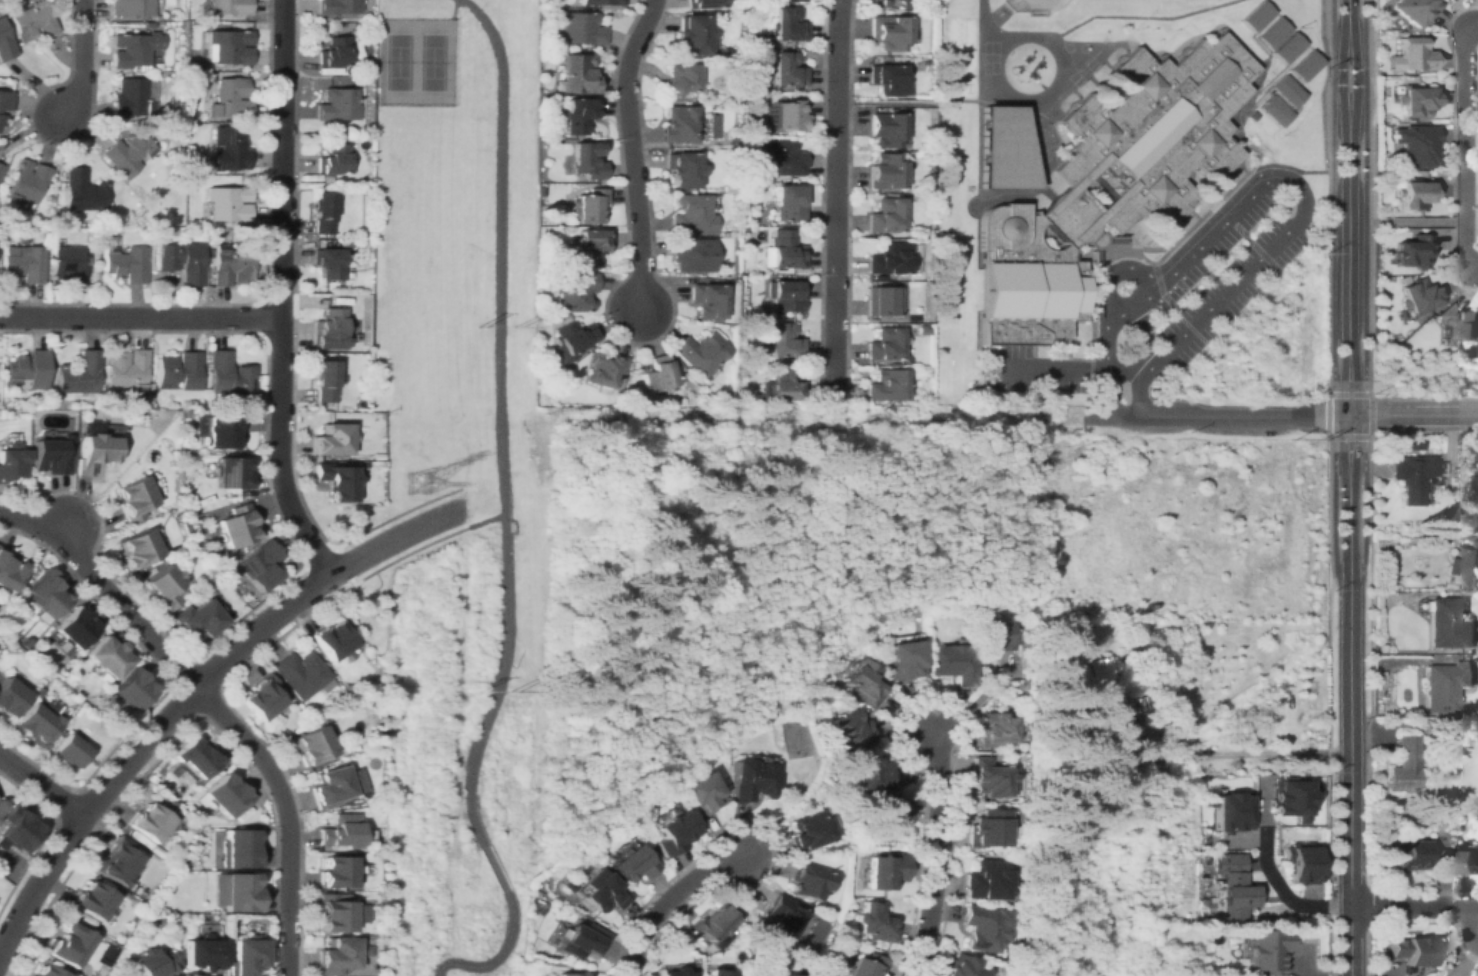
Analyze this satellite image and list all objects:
building: (899, 1)
building: (602, 2)
building: (886, 2)
building: (704, 3)
park: (1074, 4)
building: (340, 6)
building: (134, 7)
building: (230, 7)
road: (452, 9)
building: (878, 10)
building: (1416, 10)
building: (1034, 13)
road: (979, 14)
building: (1255, 15)
road: (1107, 16)
road: (1347, 17)
building: (33, 21)
building: (150, 24)
building: (201, 24)
building: (788, 25)
building: (582, 28)
building: (890, 31)
building: (1271, 31)
building: (761, 33)
building: (694, 34)
building: (5, 44)
park: (1066, 46)
building: (1286, 46)
building: (230, 47)
road: (1066, 49)
building: (136, 50)
building: (335, 52)
building: (1413, 55)
park: (989, 57)
road: (82, 59)
park: (396, 60)
park: (431, 61)
park: (1089, 63)
building: (1302, 64)
building: (787, 69)
building: (579, 73)
road: (1355, 74)
road: (1339, 75)
park: (1074, 77)
building: (887, 79)
building: (679, 80)
road: (1055, 89)
building: (1285, 90)
building: (132, 98)
building: (231, 98)
building: (6, 100)
building: (1418, 101)
road: (944, 102)
building: (338, 105)
building: (1273, 110)
building: (579, 114)
building: (1250, 114)
building: (790, 115)
building: (2, 120)
building: (679, 124)
building: (887, 128)
park: (1037, 144)
building: (1416, 145)
road: (1465, 146)
building: (230, 149)
building: (1002, 149)
road: (632, 153)
building: (129, 154)
building: (334, 159)
building: (781, 159)
building: (588, 160)
building: (1, 169)
building: (683, 169)
building: (886, 171)
building: (327, 178)
building: (28, 182)
building: (1109, 182)
building: (730, 189)
building: (84, 191)
building: (1416, 193)
road: (836, 194)
building: (51, 198)
building: (789, 202)
building: (229, 203)
park: (417, 205)
building: (589, 206)
building: (325, 212)
building: (692, 215)
building: (886, 216)
road: (1214, 216)
road: (1414, 222)
building: (188, 224)
building: (724, 234)
road: (1348, 234)
building: (347, 243)
building: (593, 246)
road: (1195, 250)
building: (1414, 251)
building: (785, 253)
building: (692, 255)
building: (890, 258)
building: (718, 260)
building: (183, 261)
building: (24, 263)
building: (330, 263)
building: (127, 264)
building: (68, 265)
building: (232, 266)
road: (1473, 266)
building: (880, 277)
road: (1106, 277)
flagpole: (1121, 287)
building: (575, 290)
road: (280, 293)
building: (786, 295)
road: (1222, 296)
building: (1420, 296)
parking lot: (1165, 298)
building: (707, 300)
building: (884, 301)
road: (1363, 301)
road: (1332, 302)
road: (140, 317)
building: (558, 318)
building: (1459, 323)
power tower: (478, 324)
power tower: (516, 325)
building: (329, 329)
building: (924, 329)
building: (573, 337)
building: (785, 341)
building: (886, 344)
building: (701, 352)
building: (130, 369)
building: (605, 369)
building: (28, 370)
building: (180, 371)
road: (1070, 371)
building: (659, 373)
building: (81, 374)
building: (230, 375)
road: (1106, 378)
building: (326, 380)
building: (887, 385)
building: (783, 386)
building: (110, 395)
road: (1341, 413)
road: (1355, 413)
road: (1348, 415)
road: (1416, 415)
road: (1231, 416)
road: (500, 421)
building: (222, 431)
building: (333, 439)
building: (1409, 445)
building: (95, 451)
building: (52, 454)
building: (379, 456)
building: (12, 461)
building: (231, 473)
building: (1414, 477)
power tower: (413, 480)
building: (338, 481)
building: (135, 498)
building: (363, 500)
park: (346, 519)
road: (476, 523)
building: (237, 525)
road: (65, 531)
road: (1348, 538)
building: (139, 548)
building: (260, 565)
building: (1465, 566)
building: (1389, 573)
building: (9, 574)
building: (1385, 581)
building: (167, 586)
building: (45, 596)
park: (371, 613)
building: (201, 618)
building: (1450, 624)
building: (75, 628)
building: (993, 636)
building: (333, 640)
building: (26, 642)
building: (1383, 648)
building: (109, 656)
building: (903, 659)
building: (952, 662)
building: (302, 674)
building: (864, 683)
building: (1447, 685)
building: (133, 689)
power tower: (511, 689)
power tower: (475, 690)
road: (192, 693)
building: (1099, 696)
building: (10, 697)
building: (263, 697)
building: (76, 701)
road: (212, 707)
building: (38, 722)
building: (1425, 725)
building: (991, 729)
building: (847, 730)
building: (380, 734)
building: (312, 745)
building: (70, 751)
road: (1237, 754)
building: (202, 760)
building: (1405, 766)
building: (870, 775)
building: (987, 778)
building: (751, 780)
road: (42, 785)
building: (332, 785)
road: (1353, 788)
building: (700, 793)
building: (226, 795)
building: (1290, 798)
building: (1, 804)
building: (170, 804)
building: (1227, 811)
building: (888, 815)
building: (149, 822)
building: (19, 828)
building: (988, 828)
building: (344, 831)
building: (807, 831)
building: (673, 832)
building: (241, 849)
road: (934, 853)
building: (1298, 853)
building: (1407, 856)
building: (1457, 860)
building: (117, 861)
building: (631, 864)
road: (493, 868)
building: (338, 871)
building: (885, 871)
road: (1271, 874)
building: (806, 881)
building: (988, 881)
building: (569, 885)
building: (1235, 886)
park: (4, 889)
building: (241, 892)
building: (605, 894)
building: (92, 900)
road: (664, 901)
road: (1415, 905)
building: (341, 913)
building: (159, 919)
building: (781, 919)
building: (877, 922)
building: (713, 923)
road: (1469, 926)
building: (988, 927)
building: (378, 930)
building: (582, 941)
building: (67, 944)
building: (114, 949)
building: (1270, 951)
building: (1413, 951)
building: (204, 952)
building: (247, 955)
building: (339, 955)
road: (497, 957)
building: (155, 962)
building: (1380, 962)
building: (868, 965)
building: (965, 967)
building: (46, 971)
building: (676, 972)
building: (722, 972)
building: (570, 974)
building: (776, 974)
building: (29, 975)

